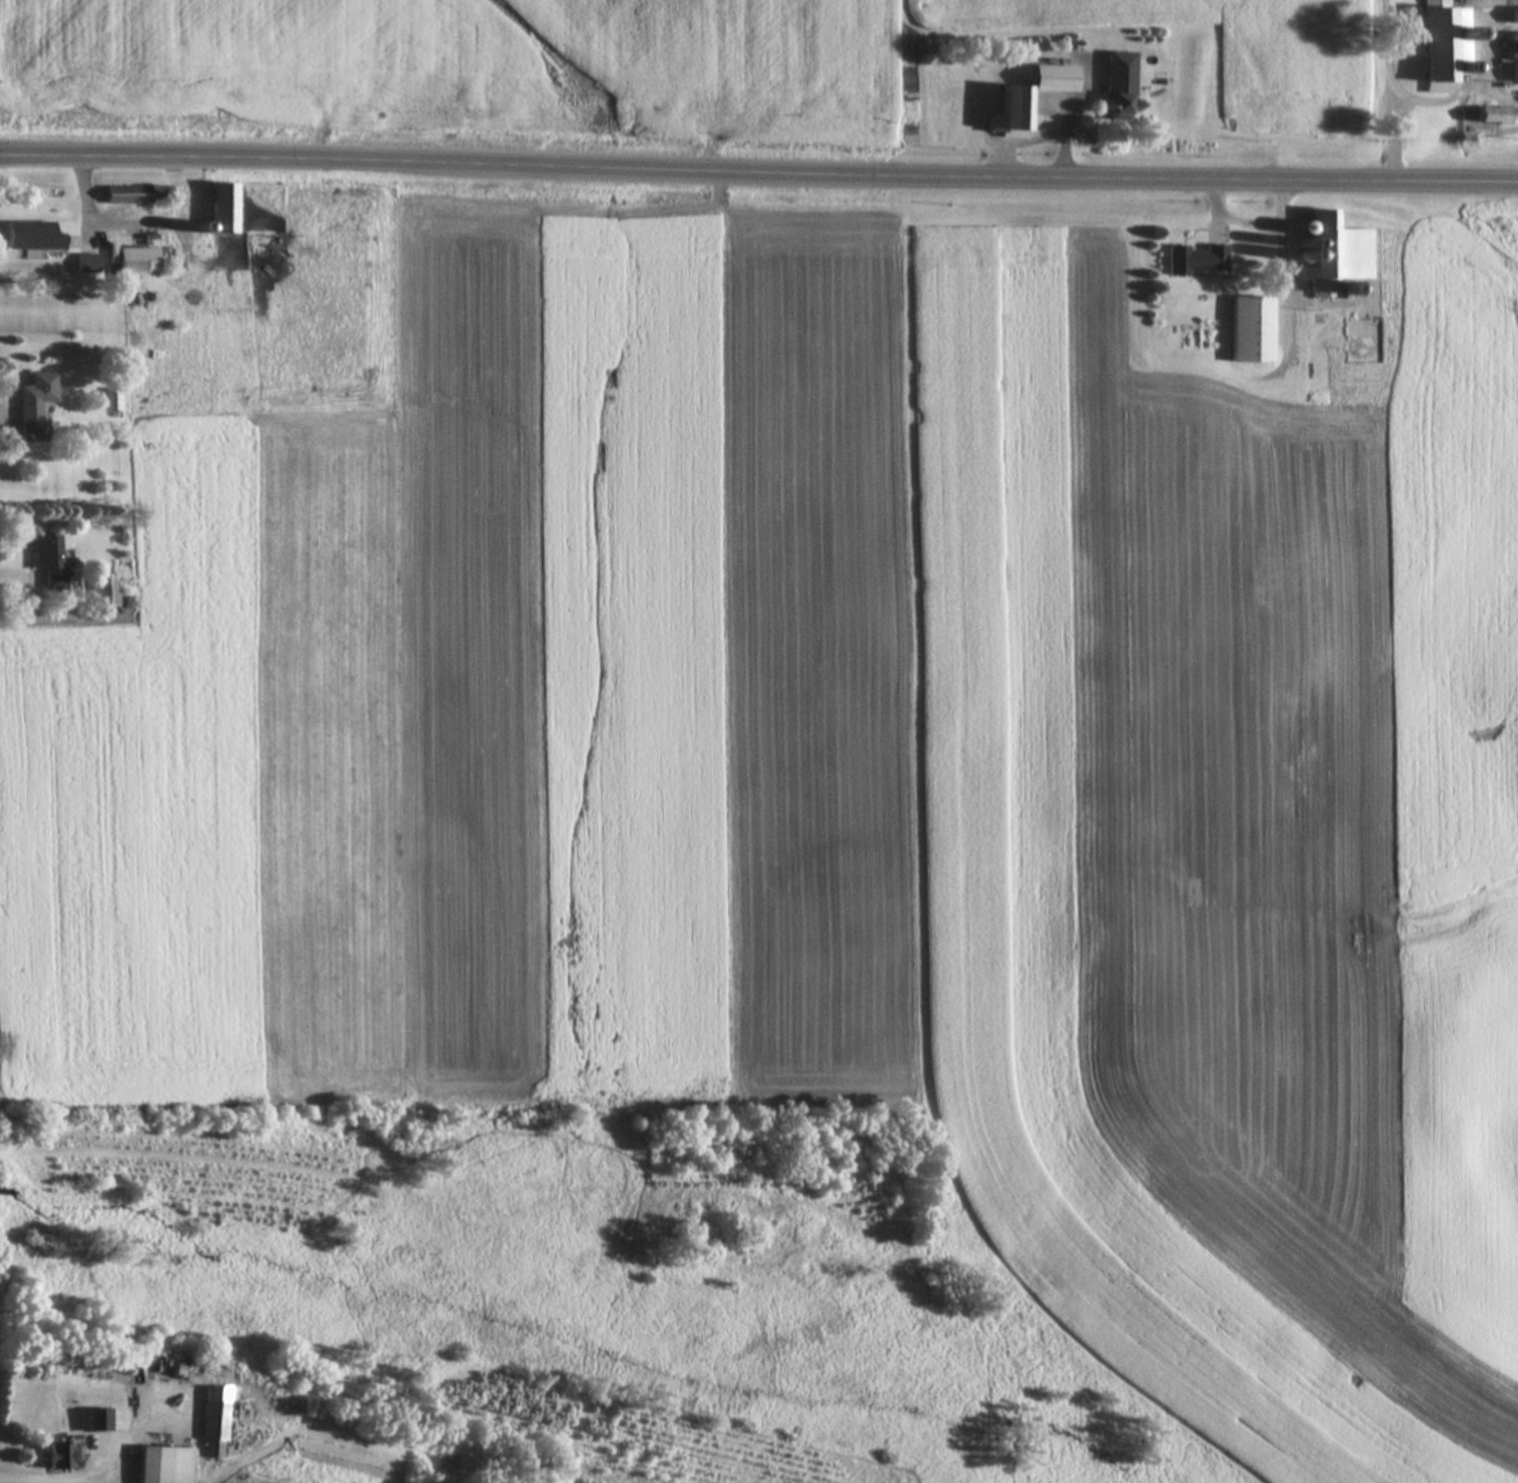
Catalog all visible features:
building: (1517, 16)
building: (1442, 46)
building: (1517, 59)
road: (1488, 73)
building: (1123, 83)
building: (1033, 99)
building: (1499, 116)
road: (1071, 137)
road: (1028, 141)
road: (759, 170)
building: (138, 196)
building: (225, 211)
road: (1233, 219)
building: (35, 238)
road: (1281, 251)
building: (1336, 257)
building: (1199, 261)
building: (89, 265)
building: (140, 271)
building: (1254, 331)
building: (114, 401)
building: (38, 407)
building: (51, 561)
building: (107, 591)
road: (54, 621)
building: (216, 1430)
building: (63, 1457)
building: (156, 1465)
road: (102, 1476)

